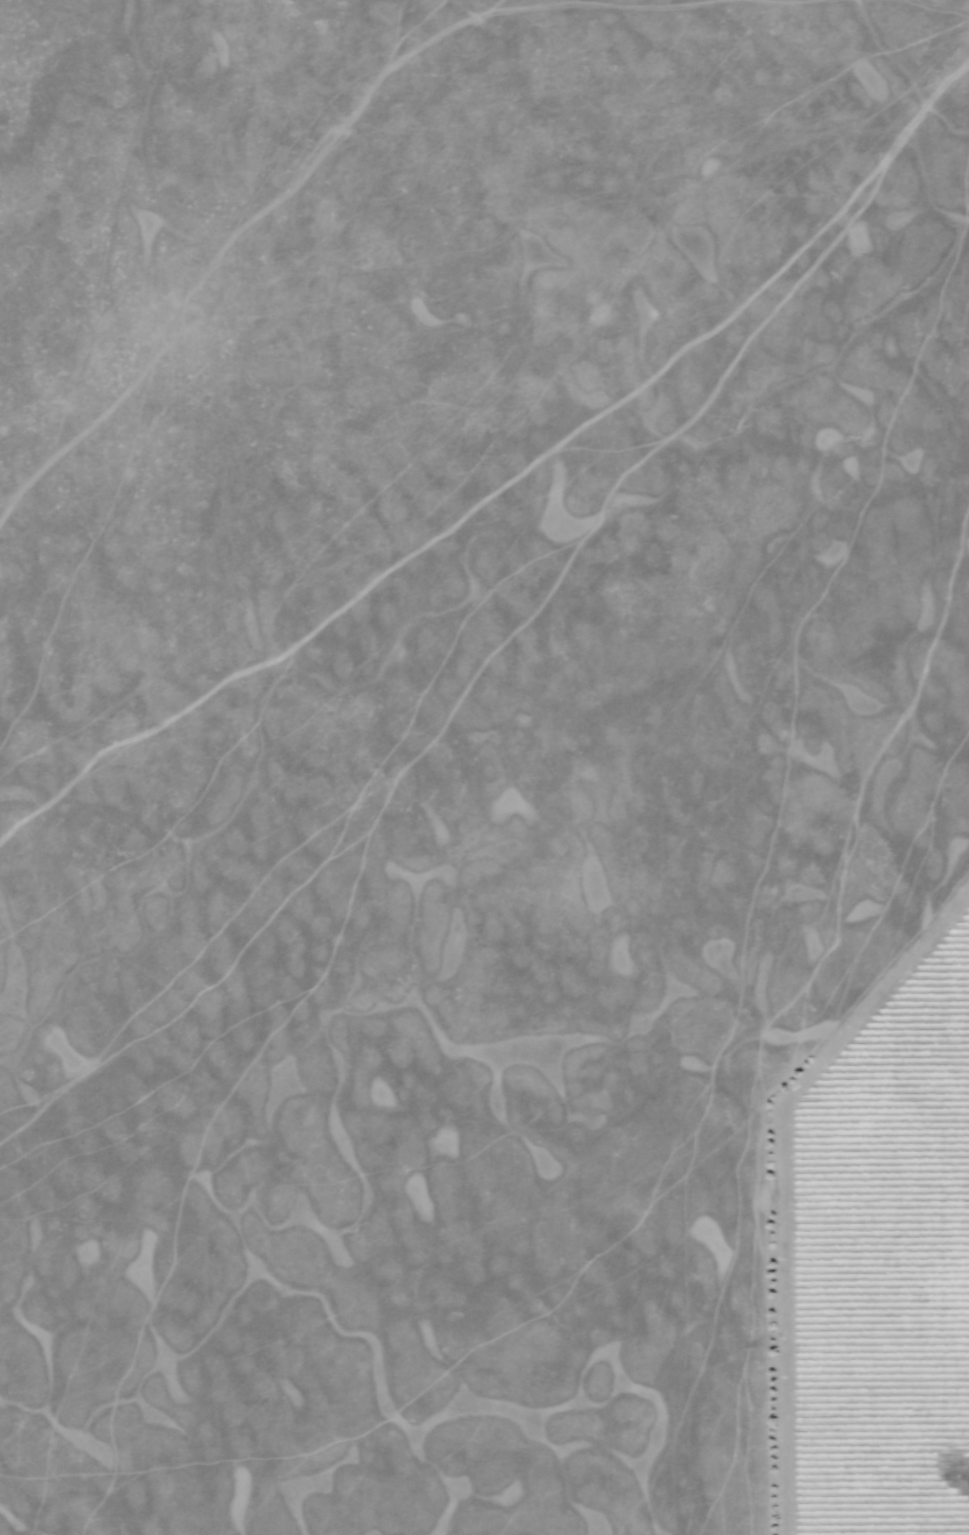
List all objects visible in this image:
crop: (869, 1248)

